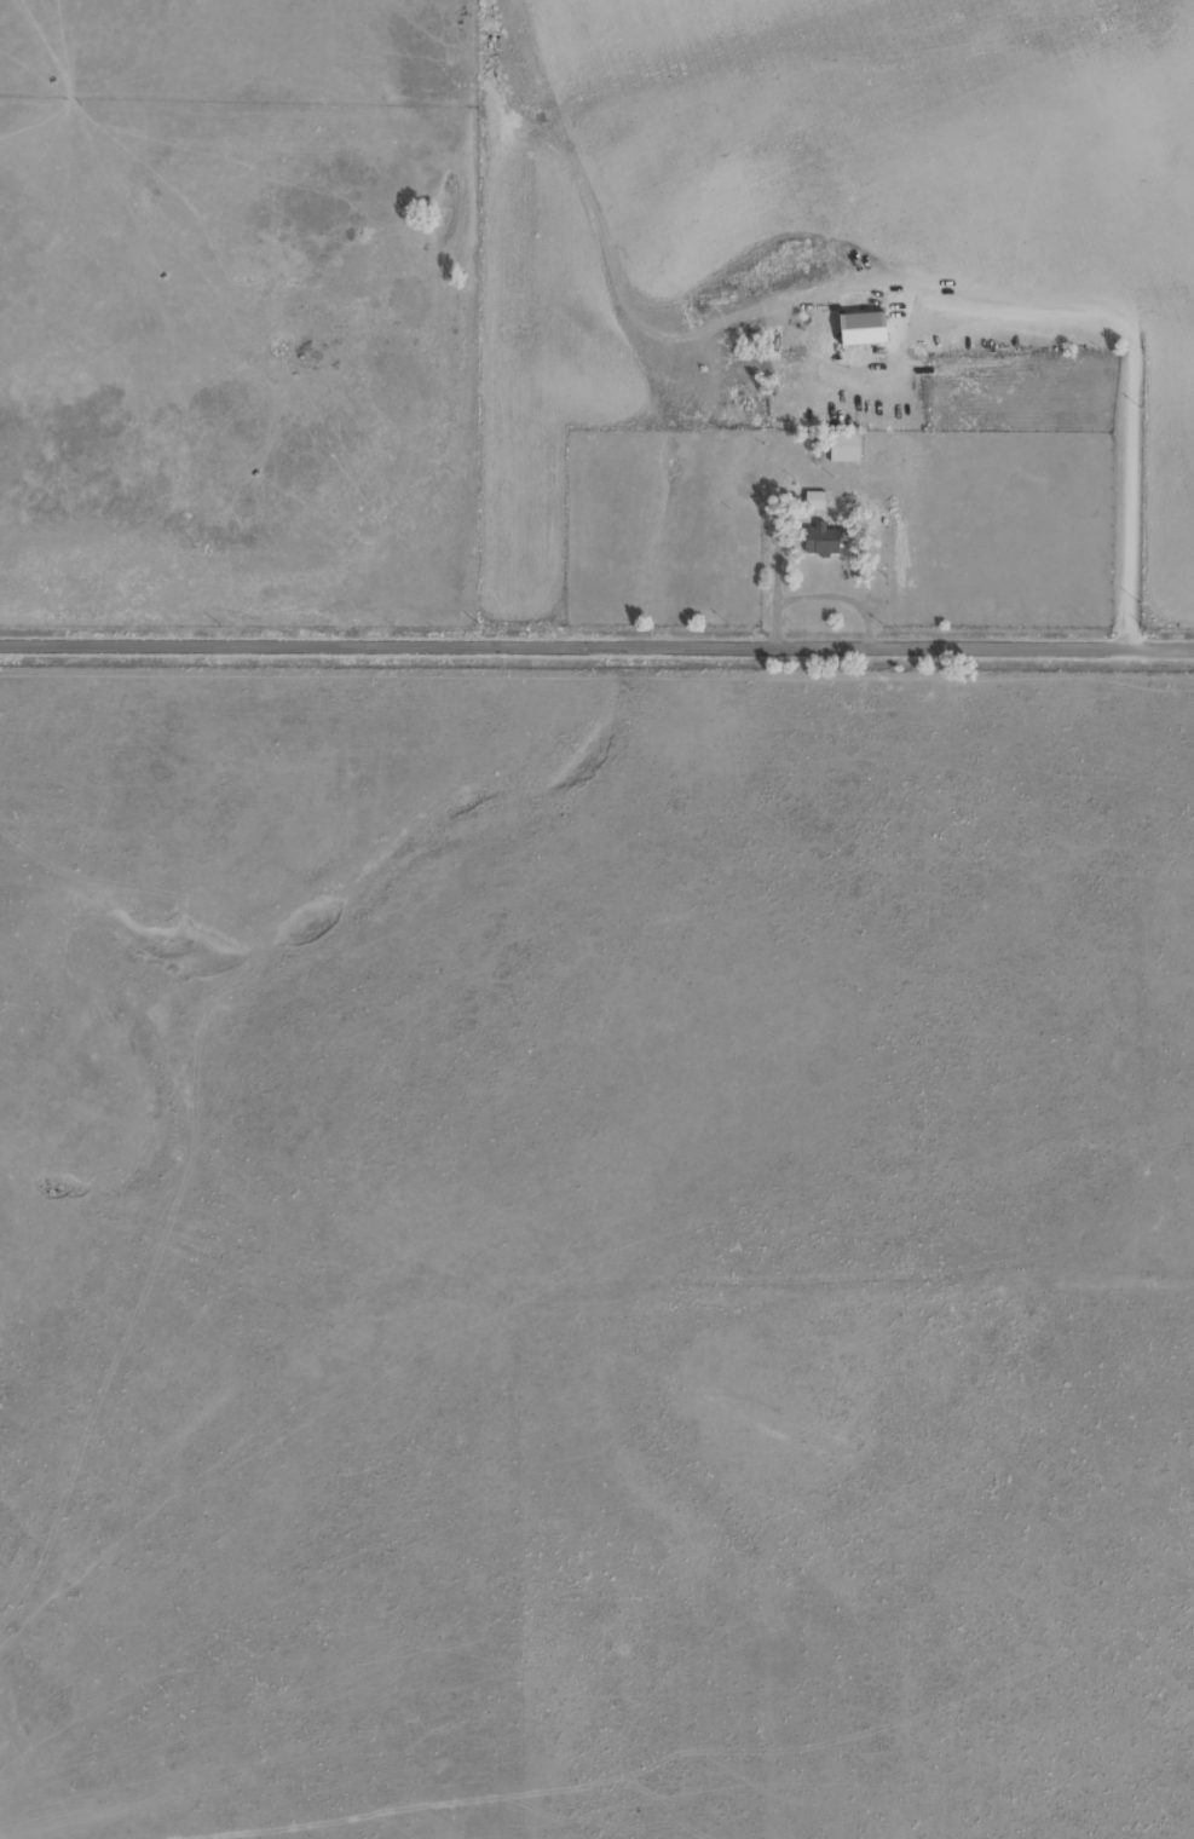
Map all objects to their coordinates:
building: (795, 249)
building: (844, 445)
road: (11, 519)
building: (823, 538)
road: (596, 644)

